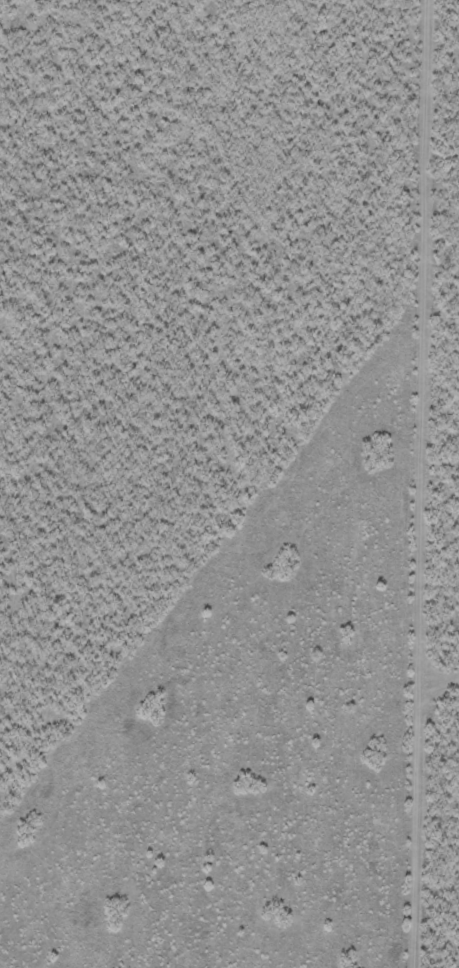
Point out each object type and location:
road: (229, 755)

